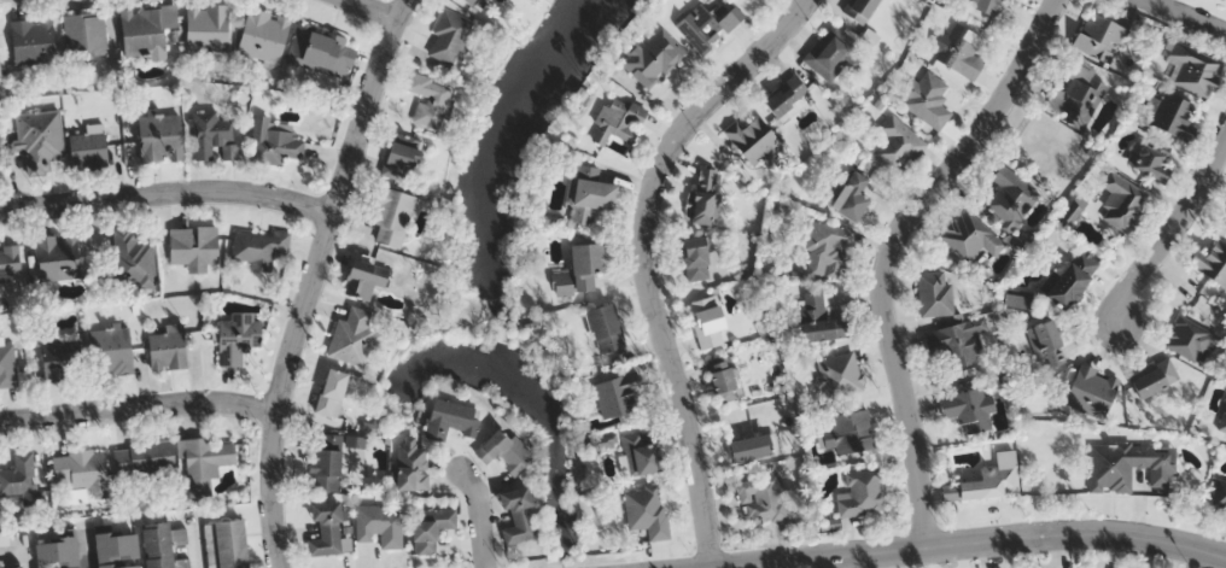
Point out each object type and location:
building: (1225, 0)
building: (471, 1)
building: (985, 6)
building: (859, 10)
road: (373, 11)
road: (1186, 16)
building: (706, 27)
building: (206, 28)
building: (148, 29)
building: (84, 34)
building: (263, 35)
building: (448, 36)
building: (1098, 39)
building: (34, 40)
building: (321, 51)
building: (957, 51)
building: (828, 52)
building: (653, 58)
building: (0, 68)
building: (1193, 72)
building: (787, 95)
building: (1079, 98)
building: (430, 99)
building: (926, 99)
building: (1172, 117)
building: (614, 123)
building: (210, 131)
building: (39, 137)
building: (160, 137)
building: (754, 139)
building: (274, 141)
building: (897, 145)
building: (89, 150)
building: (402, 159)
building: (1150, 164)
road: (168, 192)
building: (590, 195)
building: (852, 197)
building: (1010, 197)
building: (705, 199)
building: (1117, 201)
building: (392, 216)
road: (1172, 234)
building: (969, 236)
building: (194, 246)
building: (258, 246)
building: (825, 251)
road: (894, 252)
building: (135, 254)
building: (59, 256)
road: (646, 258)
building: (696, 258)
building: (10, 260)
building: (1210, 263)
building: (579, 268)
building: (368, 276)
road: (315, 279)
building: (1067, 281)
building: (934, 293)
building: (816, 318)
building: (603, 327)
building: (707, 327)
building: (239, 336)
building: (354, 338)
building: (1191, 340)
building: (956, 341)
building: (1044, 344)
building: (169, 347)
building: (113, 350)
building: (60, 358)
building: (7, 365)
building: (839, 374)
building: (720, 379)
building: (1152, 380)
building: (1090, 391)
building: (332, 392)
building: (614, 396)
road: (140, 404)
building: (967, 406)
building: (450, 418)
building: (1222, 422)
building: (845, 432)
building: (751, 447)
building: (500, 450)
building: (640, 453)
building: (144, 459)
building: (204, 459)
building: (328, 462)
building: (411, 464)
building: (1131, 465)
building: (78, 470)
building: (21, 478)
building: (986, 480)
building: (860, 493)
building: (1219, 497)
building: (761, 498)
building: (644, 510)
building: (516, 513)
road: (474, 515)
building: (380, 523)
building: (328, 528)
building: (432, 528)
road: (1014, 539)
building: (228, 544)
building: (164, 545)
building: (118, 549)
building: (59, 552)
building: (16, 567)

